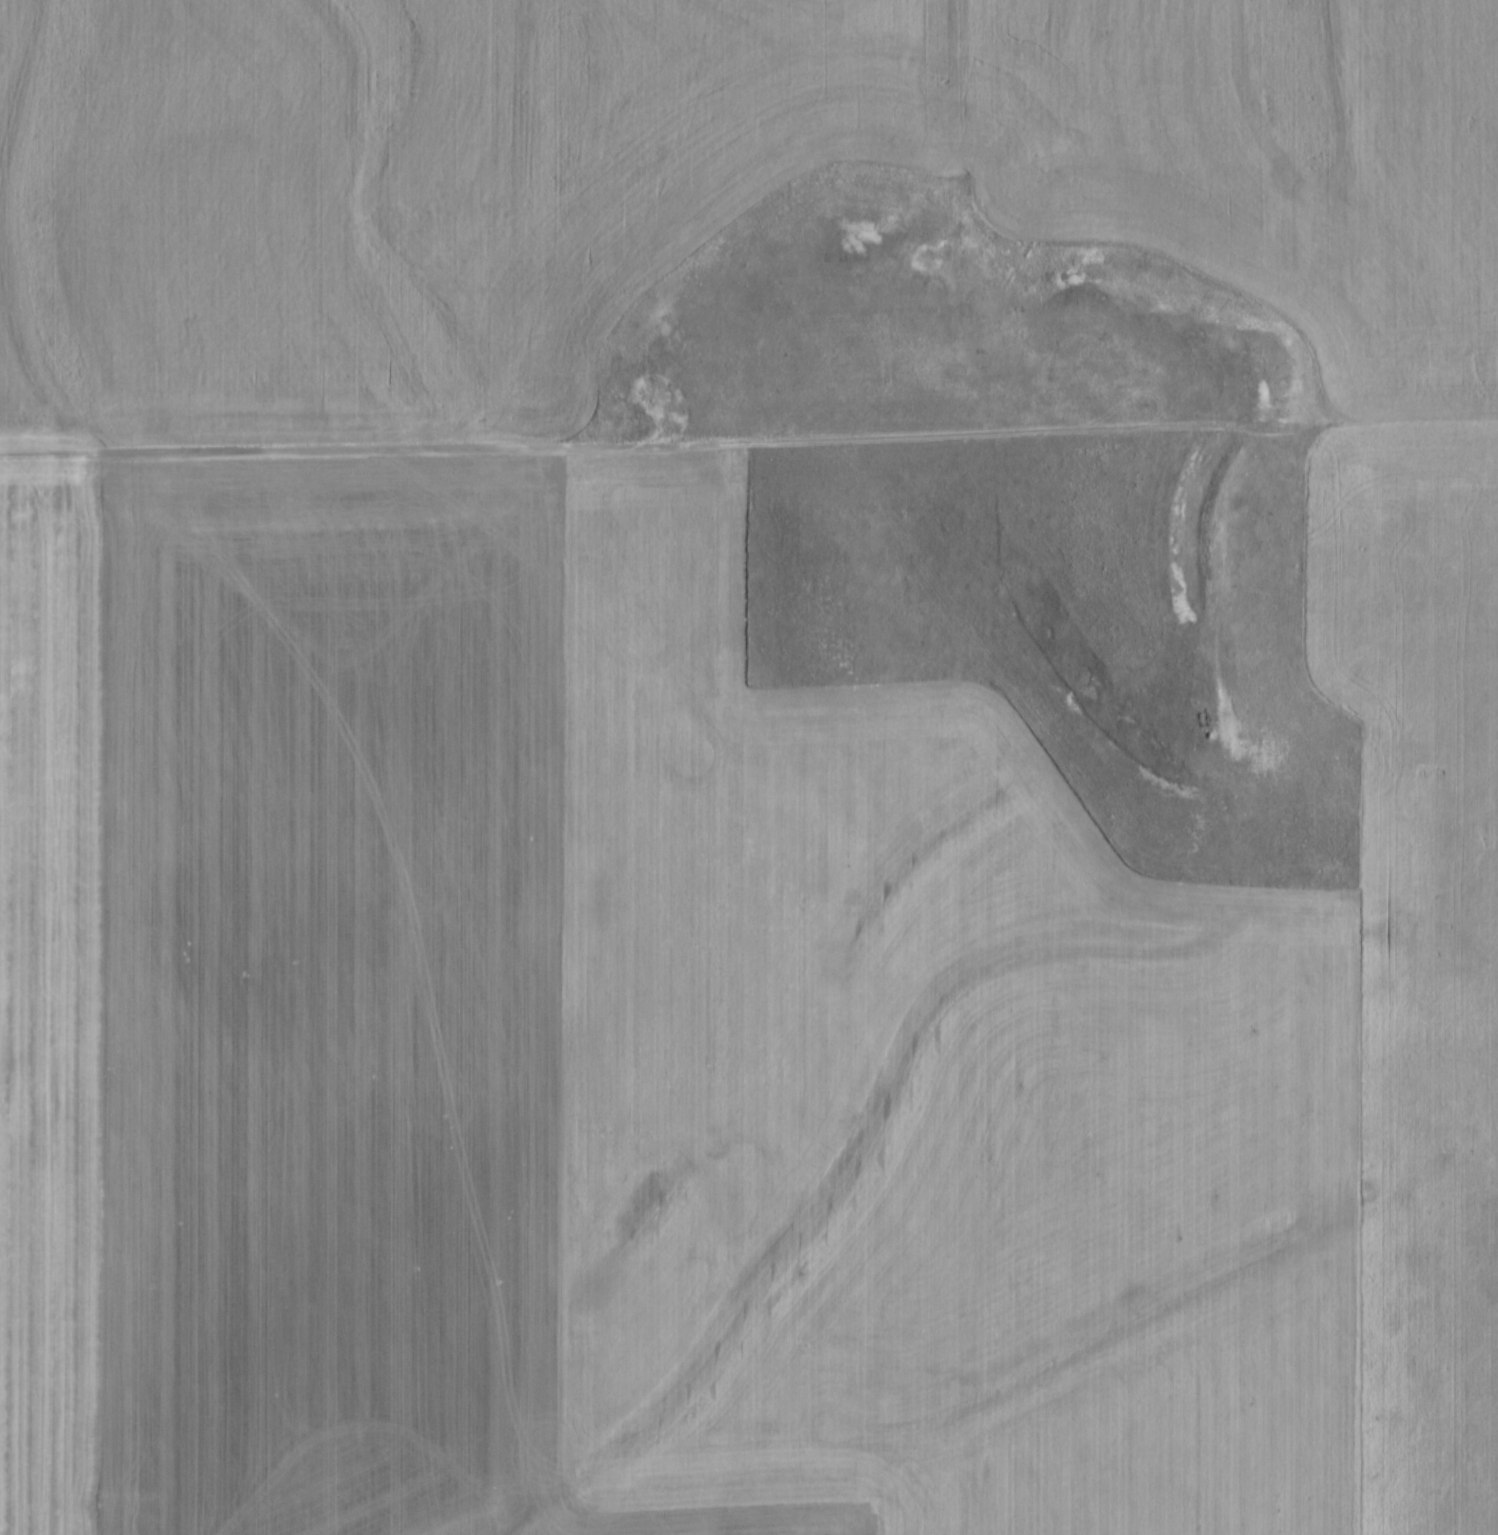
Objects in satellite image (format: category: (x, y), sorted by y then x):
road: (749, 478)

